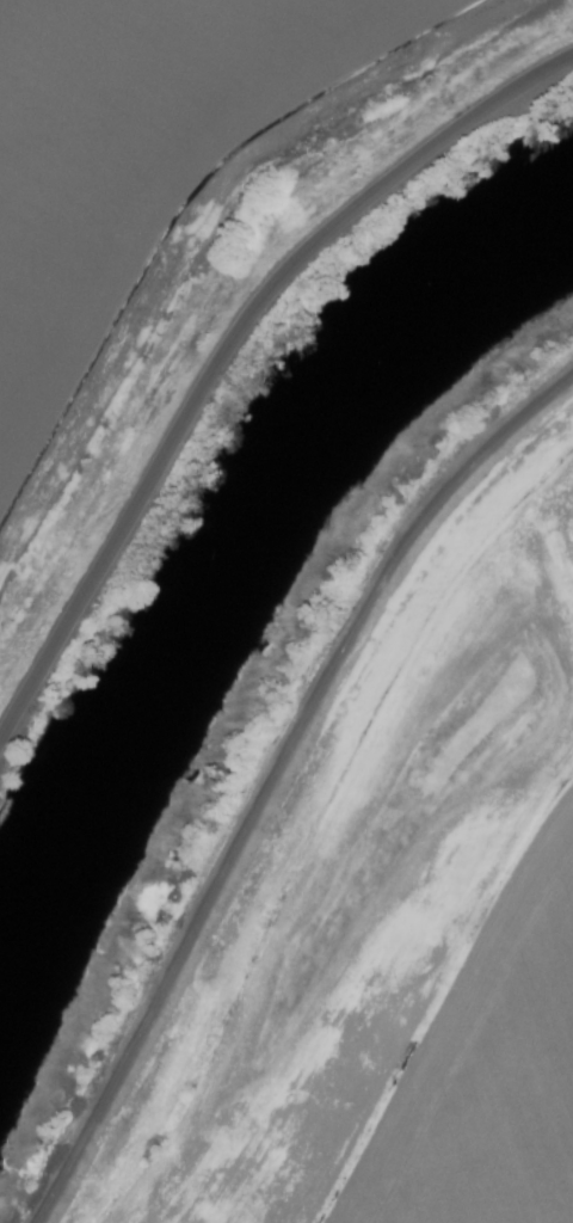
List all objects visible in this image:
crop: (181, 226)
road: (228, 348)
crop: (382, 902)

